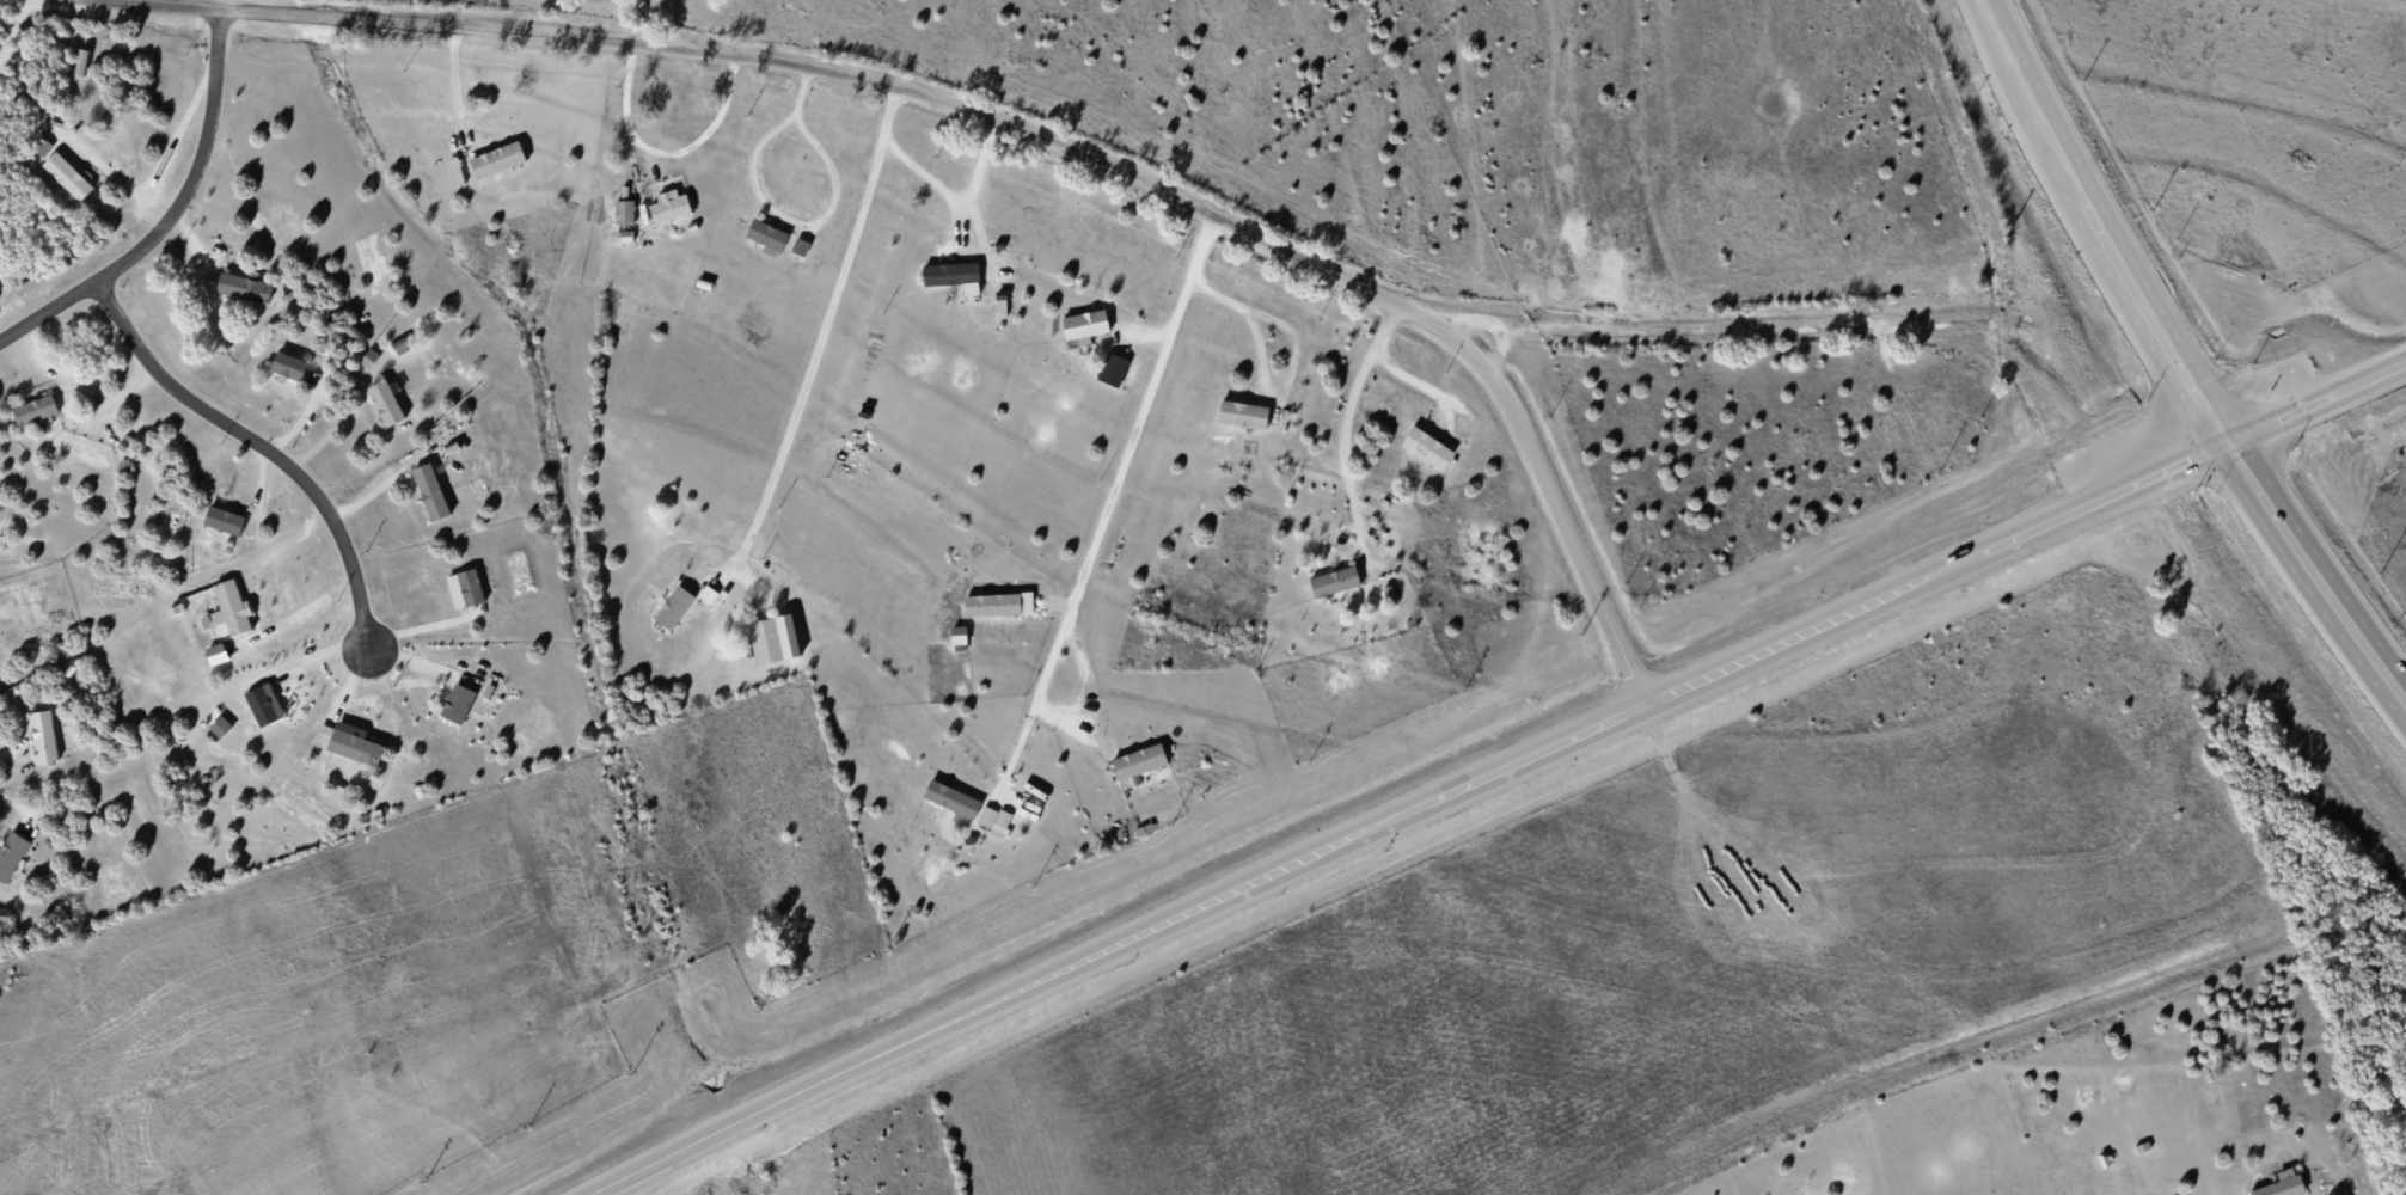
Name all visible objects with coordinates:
building: (82, 61)
road: (455, 85)
road: (624, 102)
road: (975, 114)
road: (705, 134)
road: (171, 145)
building: (498, 159)
road: (108, 170)
building: (68, 176)
road: (933, 184)
building: (669, 206)
road: (773, 207)
building: (625, 212)
road: (169, 214)
road: (2098, 221)
building: (767, 234)
building: (800, 246)
building: (951, 274)
building: (244, 287)
building: (1085, 325)
road: (813, 350)
building: (369, 357)
road: (1291, 358)
building: (288, 364)
building: (1113, 369)
road: (1407, 376)
road: (2314, 397)
building: (386, 403)
building: (36, 410)
building: (1243, 413)
traffic signals: (2223, 439)
road: (258, 442)
building: (1428, 447)
road: (1347, 477)
road: (376, 489)
building: (431, 491)
road: (1109, 497)
building: (225, 520)
road: (1373, 534)
road: (2313, 568)
building: (1335, 581)
building: (465, 588)
building: (998, 603)
building: (675, 607)
building: (232, 608)
road: (294, 615)
road: (423, 625)
building: (959, 635)
building: (775, 638)
building: (216, 654)
road: (306, 657)
road: (426, 662)
building: (458, 703)
building: (264, 704)
building: (44, 735)
building: (355, 743)
building: (1139, 761)
building: (951, 799)
road: (16, 803)
road: (1415, 813)
building: (994, 820)
building: (11, 853)
park: (2384, 1133)
building: (2283, 1184)

